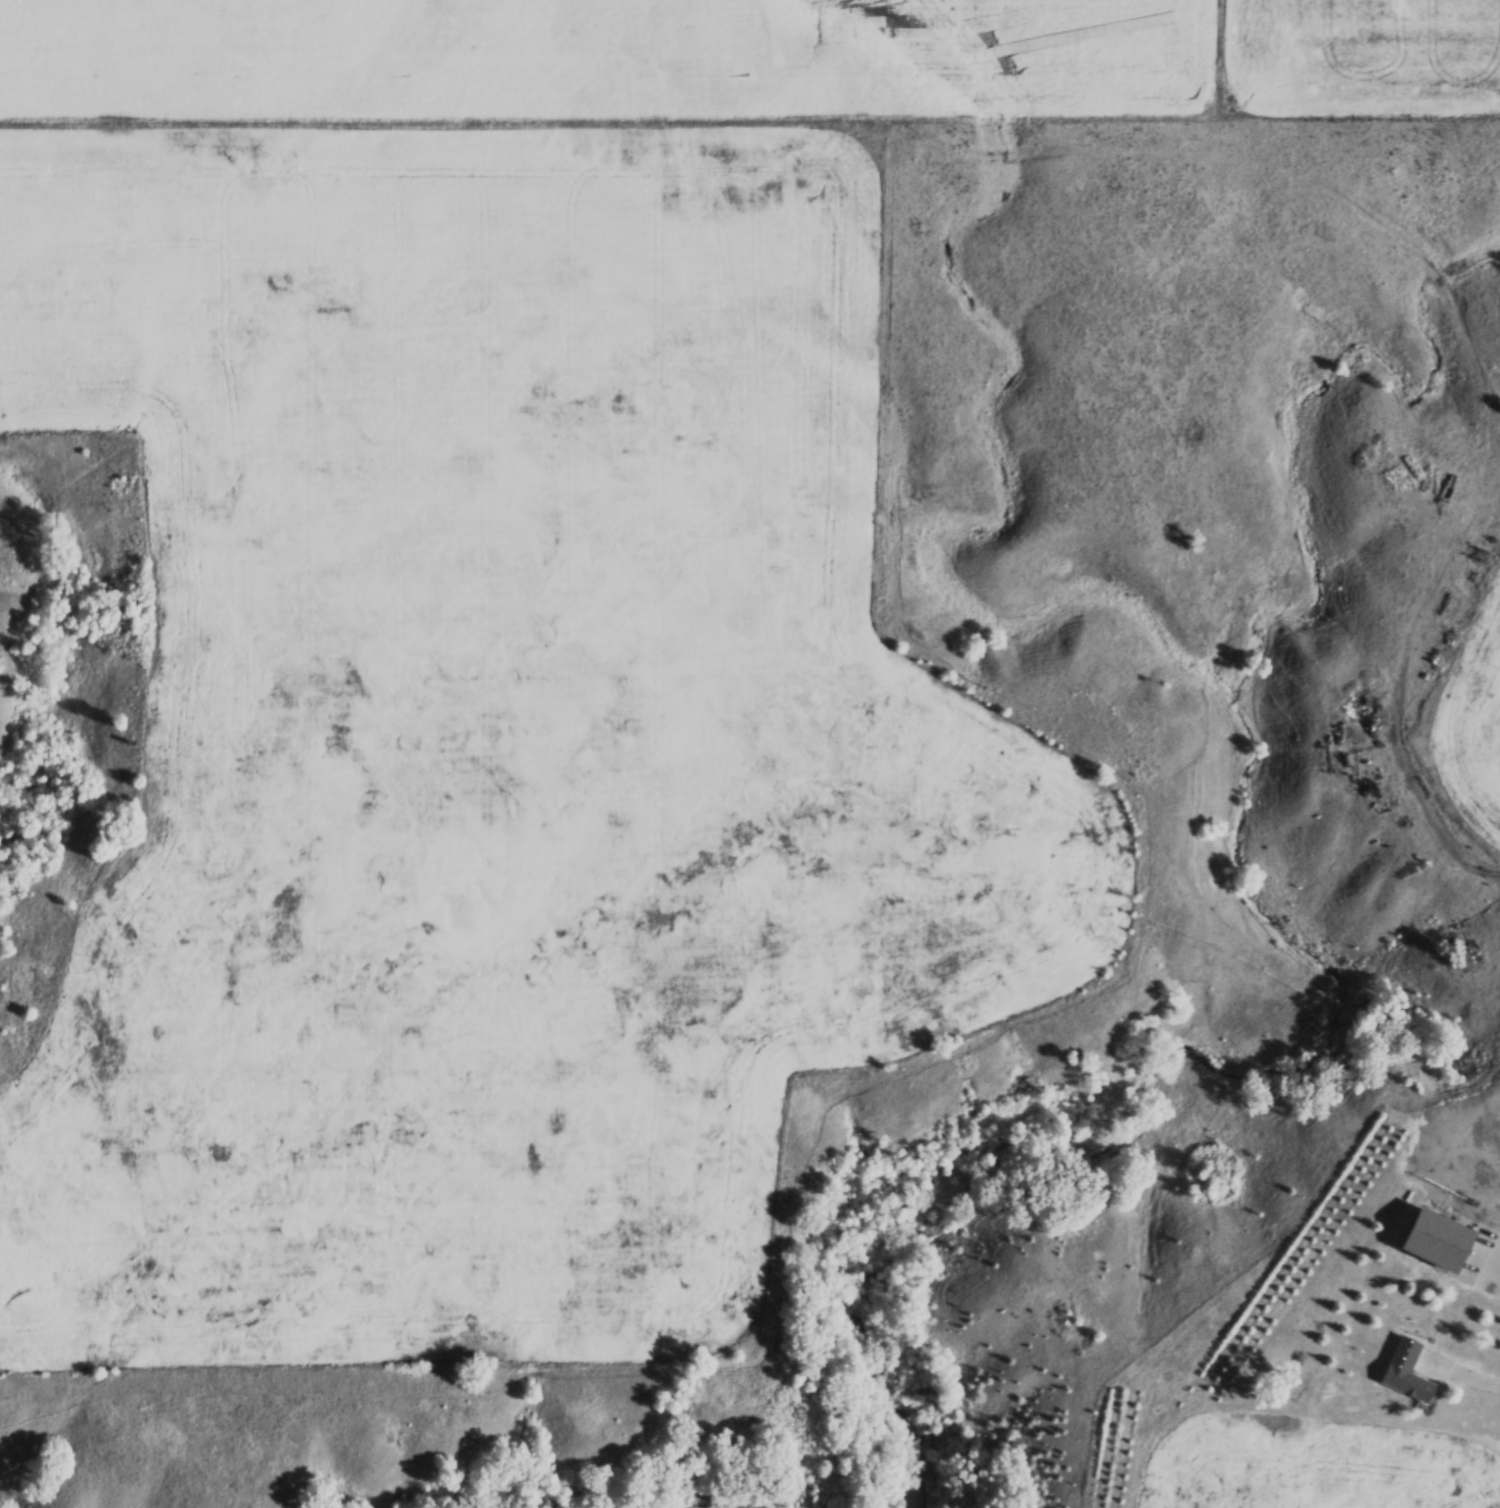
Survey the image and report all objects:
building: (1446, 1244)
building: (1407, 1372)

